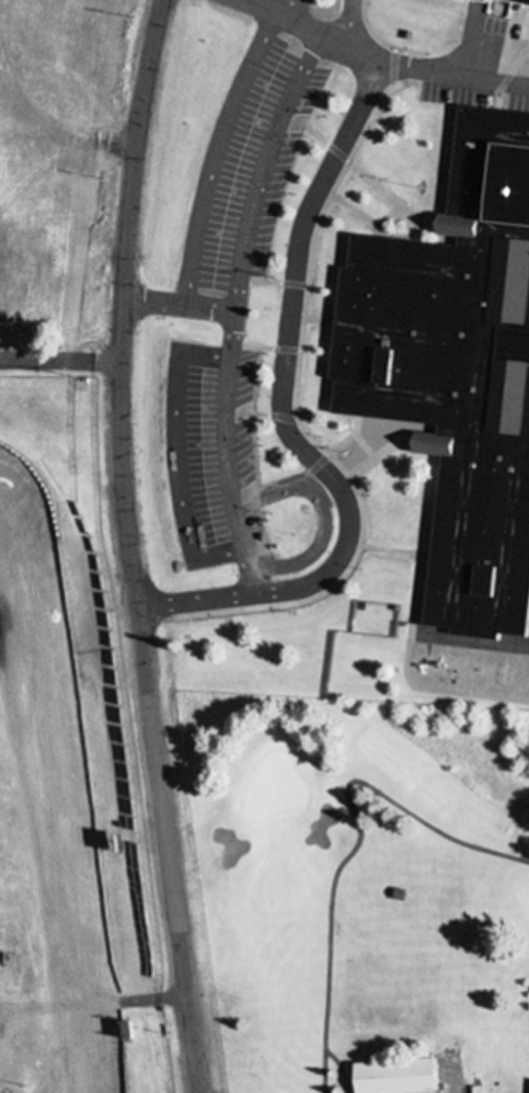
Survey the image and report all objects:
building: (467, 2)
building: (516, 2)
road: (348, 25)
street lamp: (426, 55)
parking lot: (483, 62)
road: (375, 64)
building: (527, 68)
street lamp: (323, 118)
road: (216, 145)
parking lot: (246, 168)
street lamp: (383, 179)
street lamp: (272, 277)
road: (175, 306)
road: (231, 311)
street lamp: (262, 354)
road: (59, 361)
building: (456, 369)
road: (296, 391)
road: (279, 422)
street lamp: (323, 441)
street lamp: (258, 447)
parking lot: (210, 456)
building: (46, 480)
street lamp: (366, 496)
street lamp: (267, 513)
street lamp: (288, 534)
road: (126, 547)
street lamp: (356, 569)
street lamp: (292, 613)
street lamp: (228, 622)
building: (528, 692)
park: (271, 777)
park: (353, 889)
building: (393, 1077)

